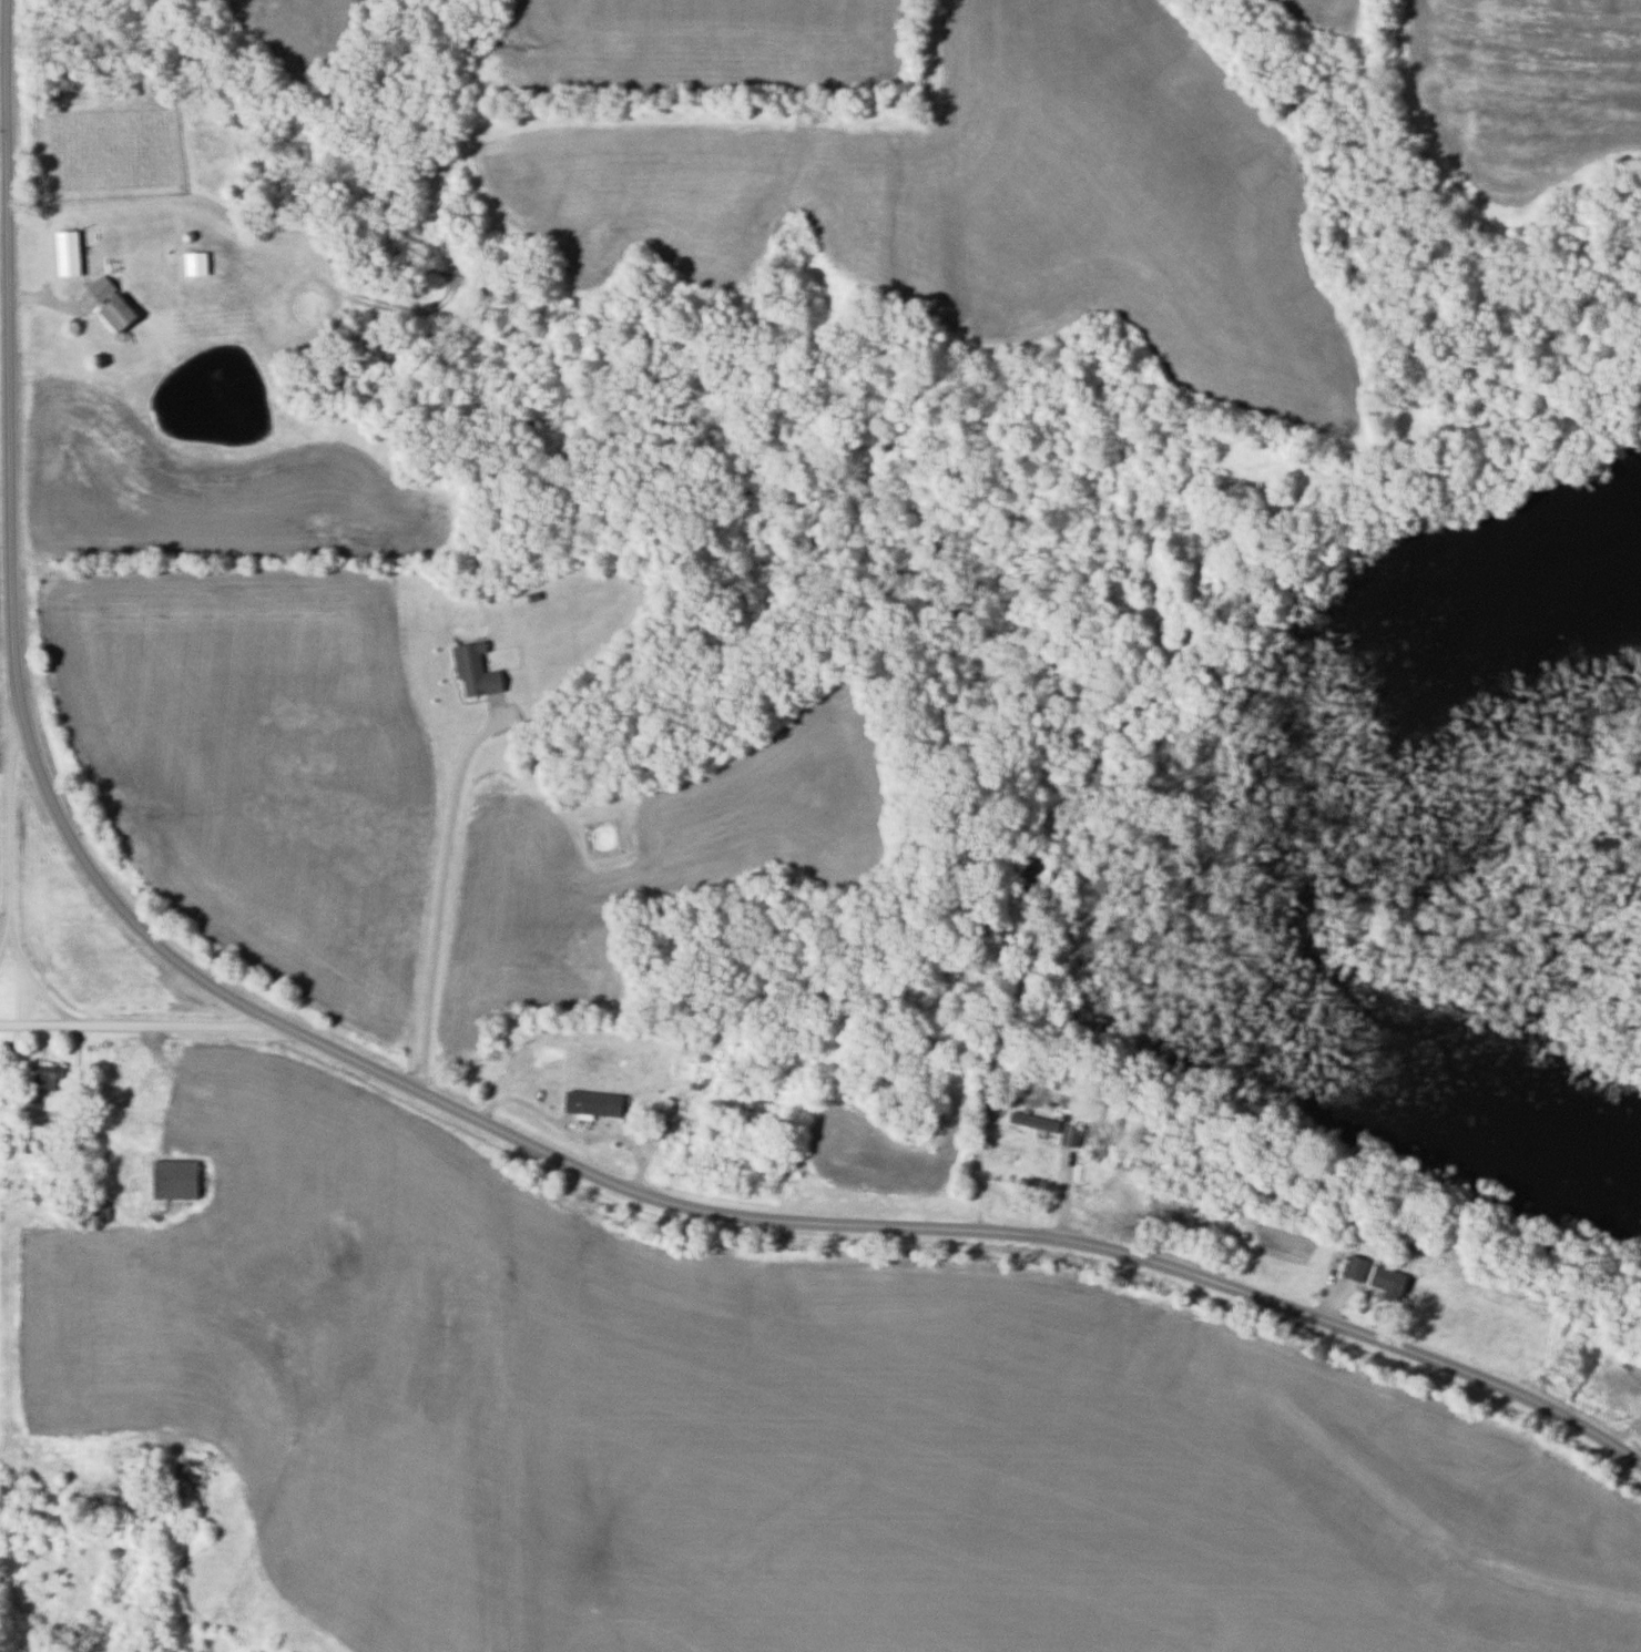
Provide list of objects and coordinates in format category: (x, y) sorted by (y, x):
building: (65, 253)
building: (108, 304)
building: (471, 671)
road: (6, 820)
road: (440, 897)
road: (30, 979)
road: (140, 1026)
building: (1054, 1082)
building: (37, 1083)
road: (420, 1091)
building: (661, 1118)
building: (1032, 1122)
building: (1068, 1135)
building: (172, 1179)
building: (96, 1212)
building: (1353, 1267)
building: (1385, 1282)
building: (106, 1505)

